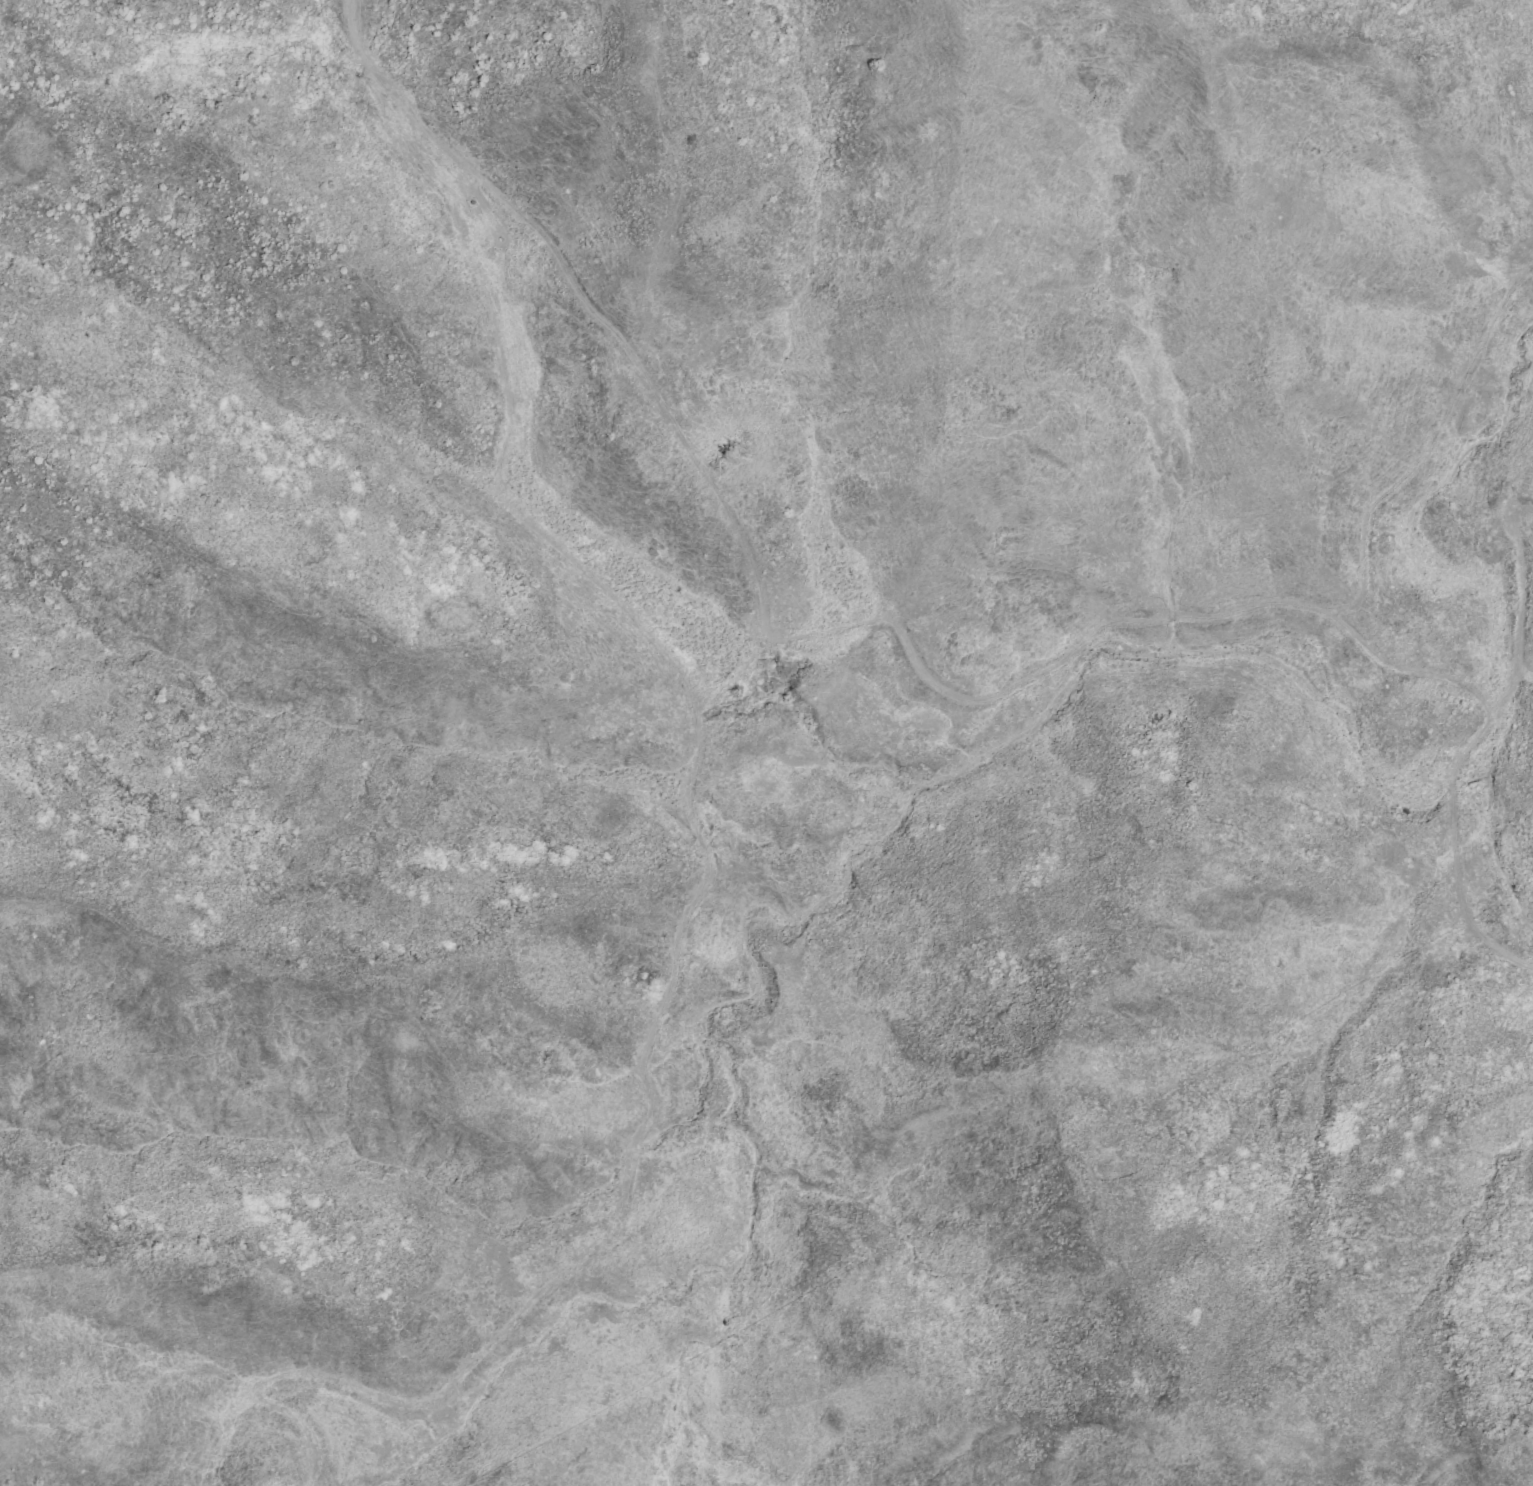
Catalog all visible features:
road: (716, 869)

